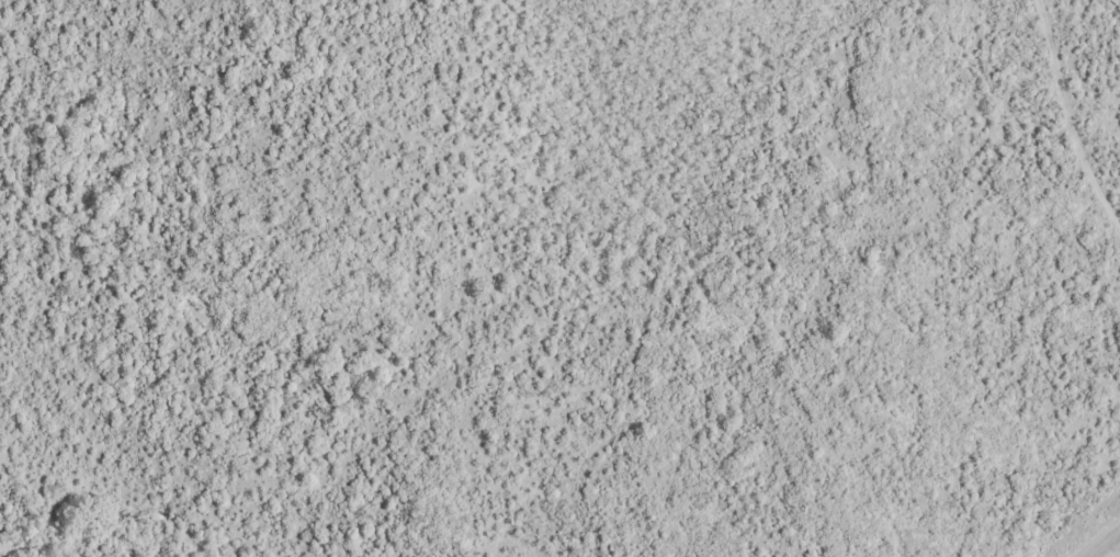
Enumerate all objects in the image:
road: (1096, 536)

